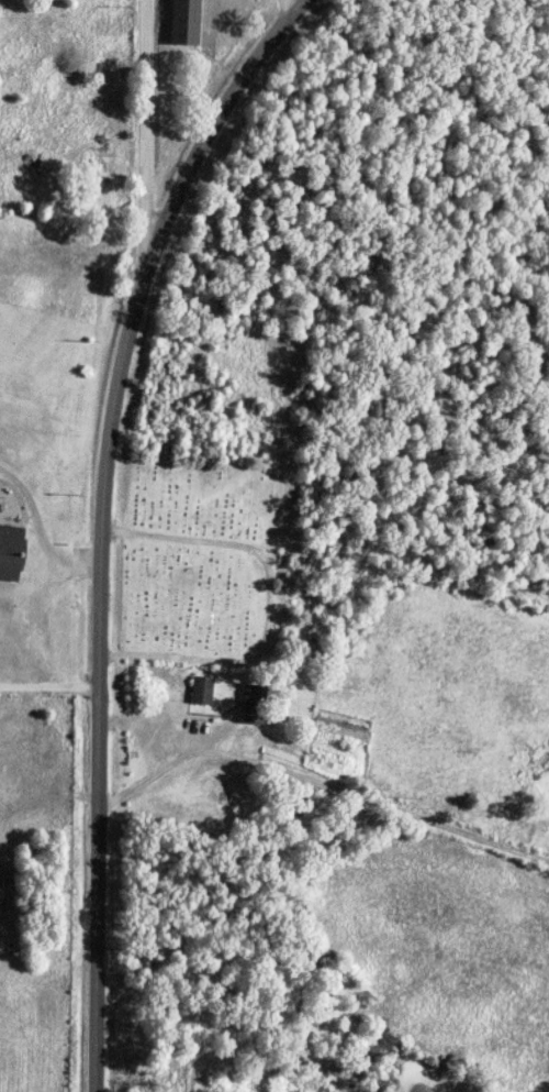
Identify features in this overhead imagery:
building: (183, 22)
road: (145, 122)
road: (103, 522)
road: (40, 533)
park: (189, 582)
road: (48, 688)
building: (201, 691)
building: (251, 704)
road: (320, 787)

